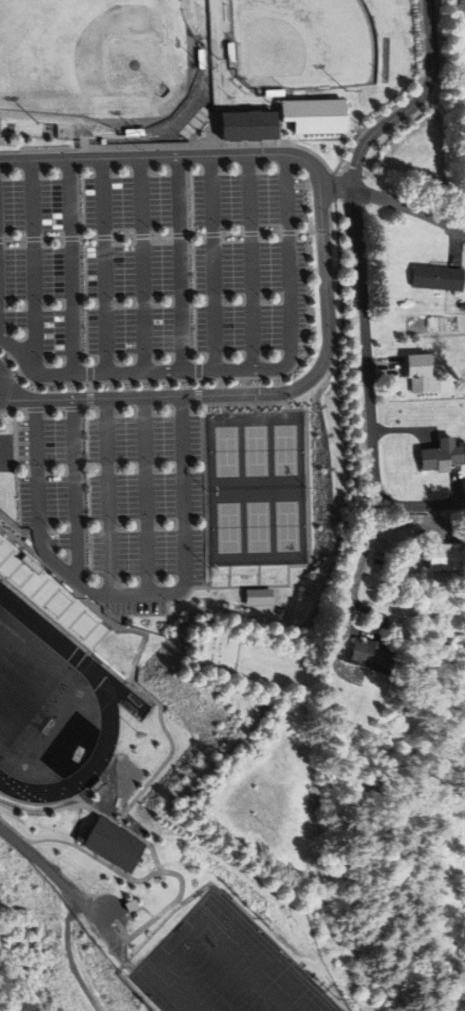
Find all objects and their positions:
park: (302, 44)
park: (96, 66)
road: (414, 106)
building: (313, 114)
building: (245, 125)
road: (108, 136)
road: (324, 139)
road: (280, 143)
road: (187, 156)
road: (334, 188)
road: (410, 207)
road: (332, 218)
road: (324, 231)
road: (287, 232)
road: (304, 232)
road: (249, 233)
road: (268, 233)
road: (211, 234)
road: (230, 234)
road: (178, 235)
road: (195, 235)
road: (140, 236)
road: (160, 236)
road: (87, 237)
road: (103, 237)
road: (121, 237)
road: (51, 238)
road: (70, 238)
road: (13, 239)
road: (31, 239)
road: (1, 240)
road: (31, 260)
road: (180, 262)
road: (213, 262)
road: (249, 262)
road: (141, 264)
road: (104, 265)
road: (71, 266)
building: (437, 277)
parking lot: (150, 279)
road: (237, 369)
building: (419, 372)
road: (152, 380)
road: (199, 383)
road: (0, 385)
road: (91, 386)
road: (368, 387)
road: (255, 394)
road: (200, 396)
road: (91, 399)
road: (164, 405)
road: (185, 405)
road: (145, 406)
road: (106, 407)
road: (126, 407)
road: (73, 408)
road: (90, 408)
road: (37, 409)
road: (55, 409)
road: (13, 410)
building: (440, 455)
road: (309, 484)
road: (76, 489)
park: (254, 489)
road: (206, 495)
road: (110, 496)
road: (148, 496)
parking lot: (112, 507)
road: (13, 524)
building: (445, 556)
road: (363, 560)
building: (14, 562)
road: (231, 576)
road: (261, 576)
building: (260, 596)
road: (127, 597)
road: (172, 609)
road: (120, 619)
park: (218, 651)
building: (367, 652)
road: (144, 653)
park: (25, 695)
track: (52, 710)
road: (45, 803)
road: (43, 812)
road: (103, 815)
building: (110, 845)
road: (36, 867)
road: (131, 878)
park: (31, 941)
road: (71, 958)
park: (221, 967)
building: (183, 1008)

